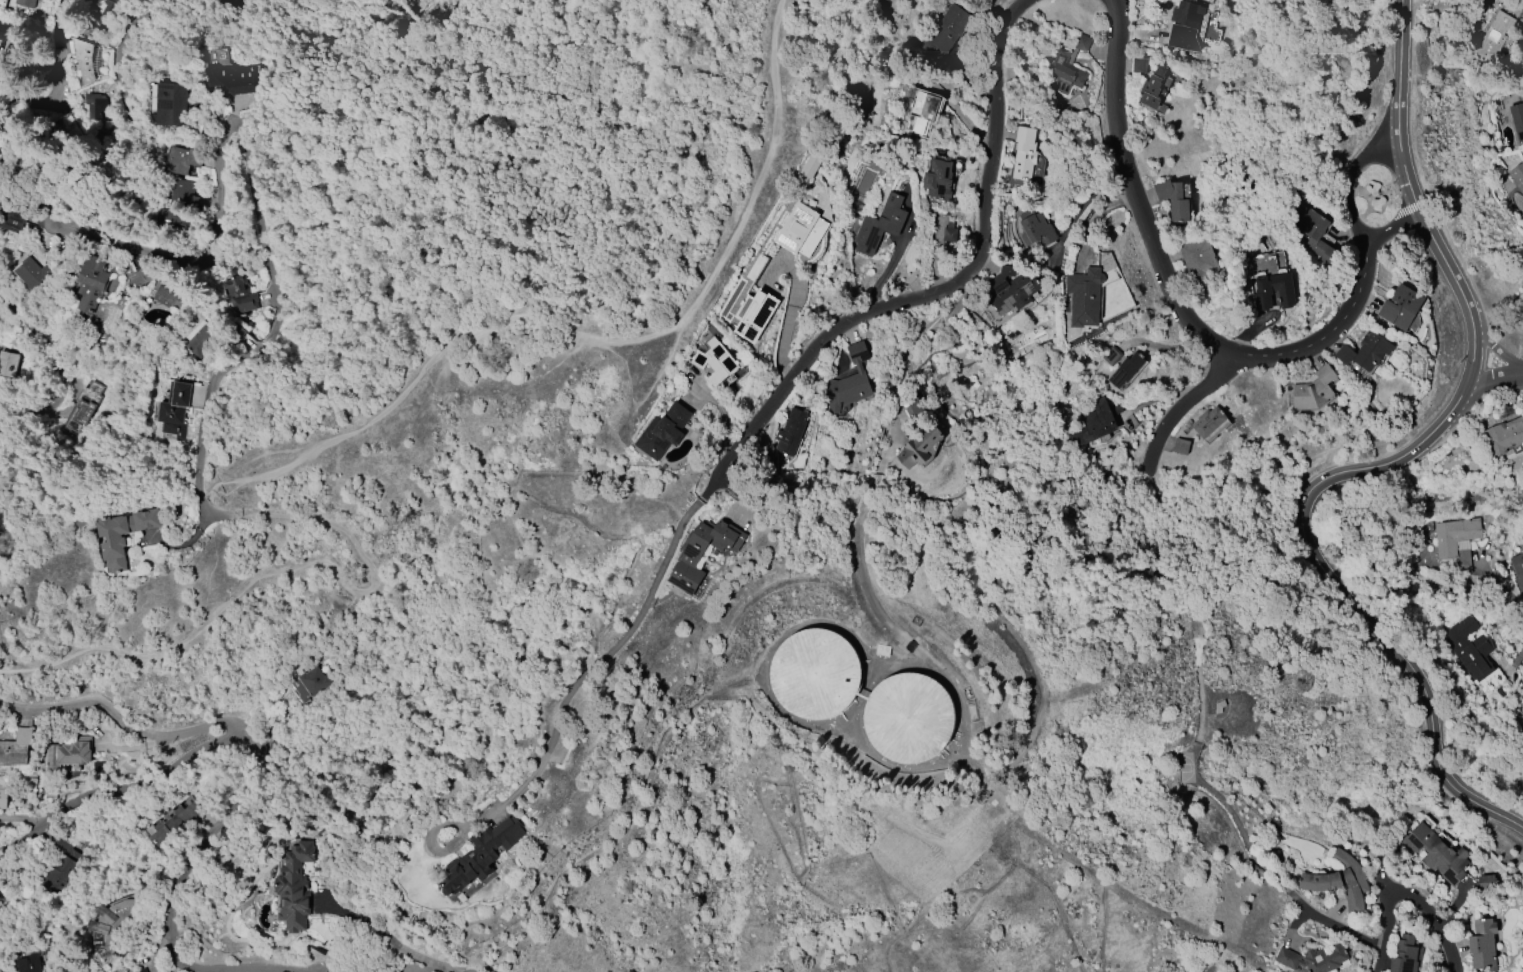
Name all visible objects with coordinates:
building: (24, 2)
building: (1184, 25)
building: (945, 29)
building: (7, 32)
building: (1493, 38)
building: (84, 57)
building: (1139, 65)
building: (1068, 66)
road: (56, 77)
building: (230, 79)
building: (1152, 87)
building: (171, 104)
road: (1115, 110)
building: (922, 112)
building: (1517, 117)
building: (0, 152)
building: (1024, 153)
building: (181, 160)
building: (1518, 176)
building: (939, 178)
road: (1351, 181)
building: (182, 193)
building: (1174, 200)
road: (65, 204)
road: (631, 209)
road: (258, 216)
building: (17, 217)
building: (169, 217)
building: (880, 225)
road: (1397, 226)
building: (944, 228)
building: (1035, 228)
building: (801, 230)
building: (1315, 242)
building: (1198, 260)
building: (32, 273)
building: (91, 283)
building: (1012, 289)
building: (1265, 291)
building: (238, 293)
building: (1084, 296)
building: (167, 297)
building: (1400, 307)
building: (754, 314)
road: (788, 322)
building: (200, 339)
road: (1499, 350)
building: (1365, 351)
road: (1249, 358)
building: (716, 362)
building: (7, 364)
road: (51, 366)
building: (1127, 369)
road: (1497, 378)
building: (850, 381)
building: (1314, 390)
road: (211, 391)
building: (80, 406)
road: (1180, 407)
building: (175, 409)
road: (766, 409)
building: (1209, 422)
building: (1095, 423)
building: (663, 431)
building: (792, 432)
building: (1503, 437)
road: (325, 443)
building: (1181, 446)
building: (920, 448)
road: (1406, 461)
road: (864, 509)
building: (114, 539)
building: (1456, 541)
building: (702, 552)
building: (1518, 570)
road: (1498, 591)
building: (1469, 648)
building: (815, 674)
building: (312, 684)
building: (909, 717)
building: (16, 748)
building: (68, 754)
road: (258, 754)
road: (98, 791)
building: (3, 796)
road: (370, 801)
building: (173, 820)
road: (624, 834)
building: (481, 854)
building: (1437, 854)
building: (1339, 881)
building: (1486, 881)
road: (3, 885)
building: (295, 888)
road: (1433, 917)
building: (111, 926)
building: (1482, 943)
building: (1404, 955)
building: (1312, 959)
building: (30, 964)
building: (142, 970)
building: (0, 971)

